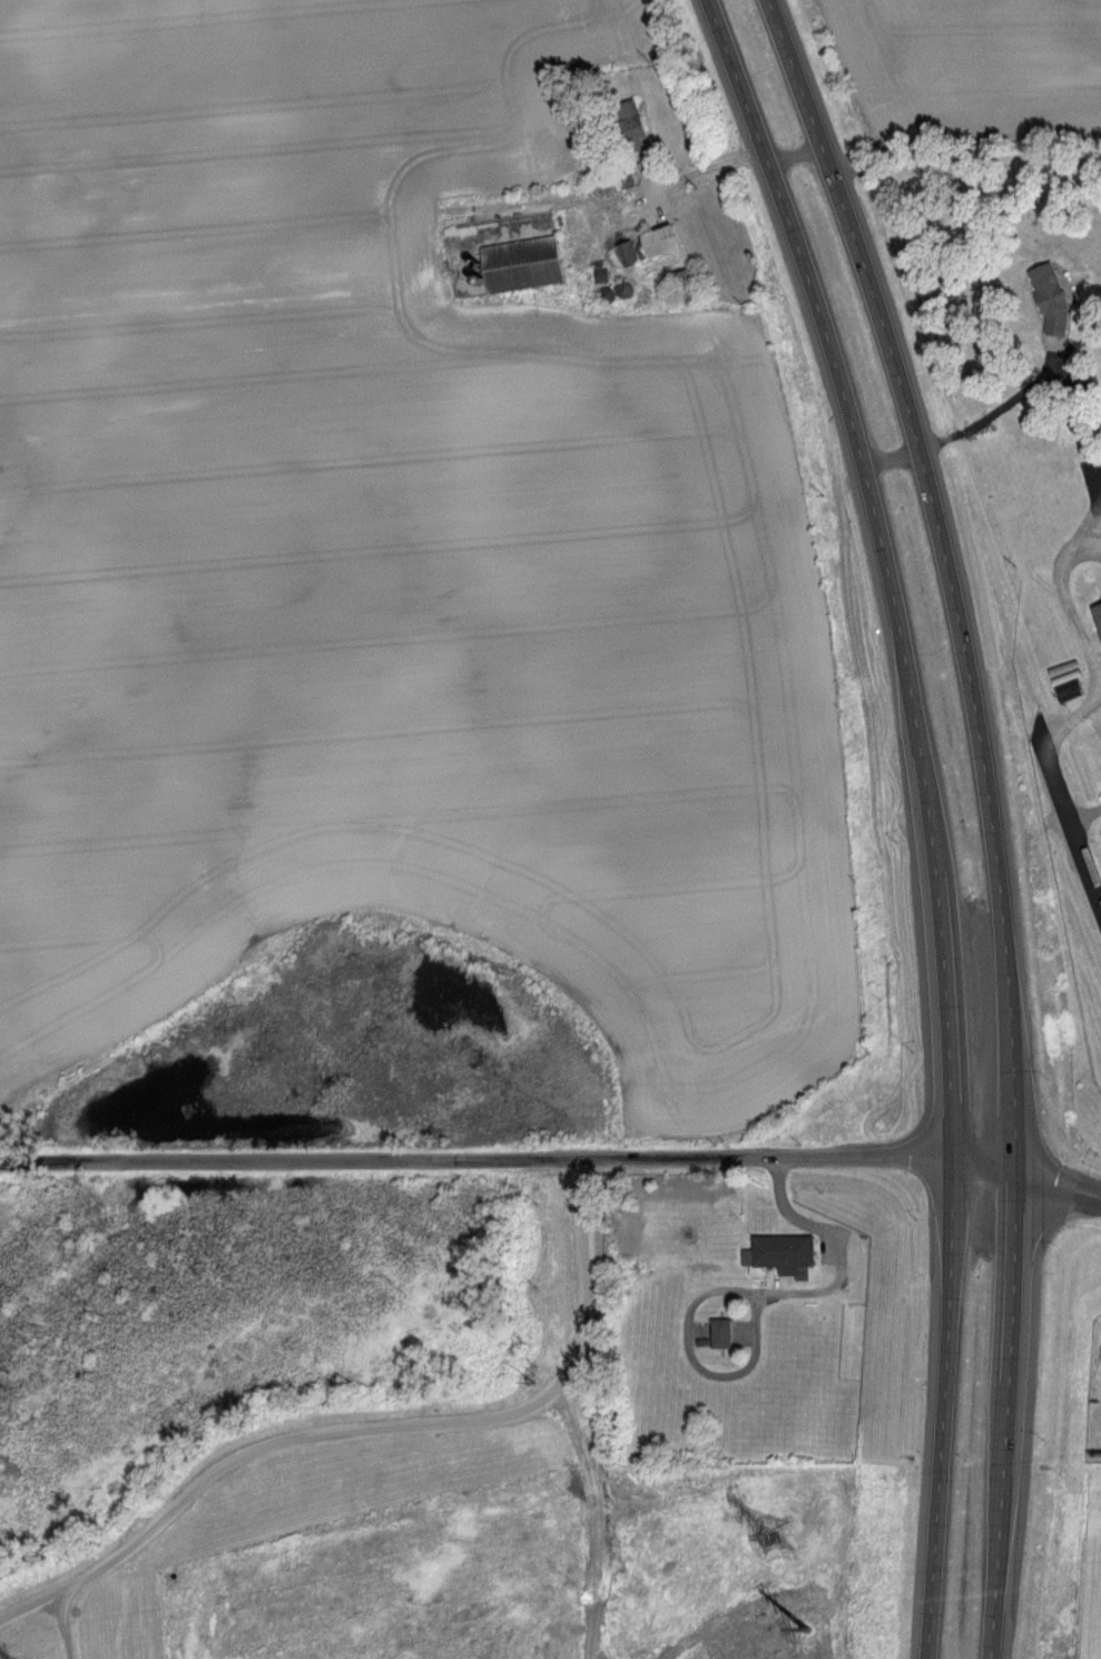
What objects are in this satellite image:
road: (814, 125)
road: (795, 155)
road: (961, 164)
road: (662, 179)
building: (669, 242)
building: (630, 253)
building: (525, 264)
building: (689, 285)
building: (1055, 301)
road: (986, 419)
road: (1091, 513)
road: (1090, 541)
road: (884, 567)
road: (1066, 602)
building: (1099, 611)
road: (975, 704)
road: (1077, 716)
road: (1085, 814)
road: (1071, 822)
road: (474, 1160)
road: (983, 1161)
road: (1058, 1184)
building: (784, 1253)
road: (745, 1292)
building: (727, 1332)
parking lot: (1095, 1355)
road: (942, 1408)
road: (1005, 1414)
road: (413, 1431)
power tower: (777, 1537)
road: (36, 1608)
road: (65, 1624)
power tower: (803, 1626)

